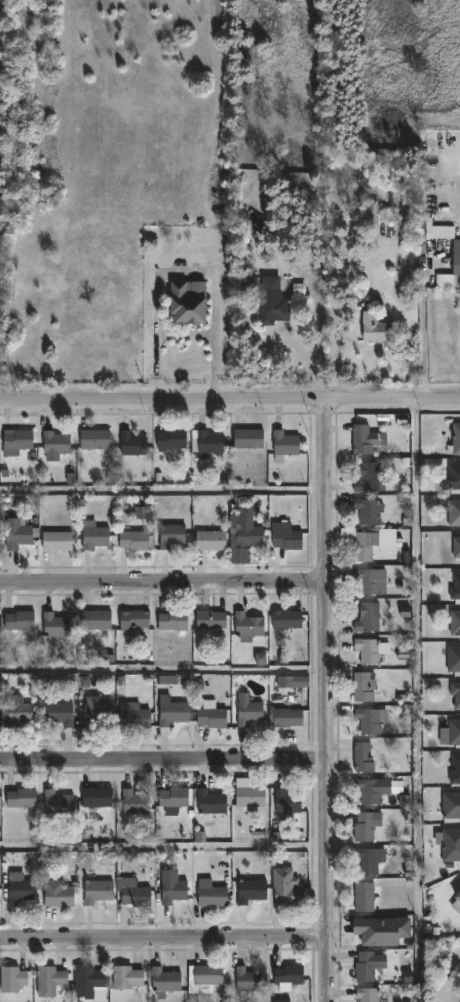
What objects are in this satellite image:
building: (427, 136)
building: (373, 216)
building: (255, 223)
building: (3, 232)
building: (446, 238)
building: (273, 303)
road: (364, 303)
building: (183, 306)
road: (423, 324)
building: (375, 330)
road: (229, 399)
building: (249, 438)
building: (95, 439)
building: (173, 439)
building: (455, 439)
building: (362, 440)
building: (19, 441)
building: (58, 443)
building: (133, 443)
building: (207, 444)
building: (286, 446)
building: (371, 478)
building: (450, 478)
building: (369, 510)
building: (452, 512)
building: (141, 513)
building: (243, 532)
building: (21, 534)
building: (172, 535)
building: (97, 536)
building: (285, 537)
building: (135, 540)
building: (58, 541)
building: (208, 541)
building: (368, 542)
building: (457, 547)
building: (369, 581)
road: (162, 582)
building: (455, 588)
building: (405, 611)
building: (369, 617)
building: (135, 619)
building: (287, 619)
building: (97, 620)
building: (212, 620)
building: (20, 621)
building: (174, 621)
building: (454, 623)
building: (58, 626)
building: (249, 627)
building: (369, 650)
building: (260, 659)
building: (452, 659)
building: (168, 680)
building: (84, 682)
building: (294, 682)
building: (198, 684)
building: (363, 687)
building: (455, 694)
road: (326, 699)
building: (97, 710)
building: (19, 712)
building: (170, 712)
building: (247, 712)
building: (60, 713)
building: (213, 716)
building: (286, 716)
building: (135, 719)
building: (370, 721)
building: (450, 733)
building: (364, 758)
road: (163, 760)
building: (456, 770)
building: (369, 791)
building: (246, 794)
building: (172, 796)
building: (98, 797)
building: (22, 798)
building: (135, 801)
building: (288, 801)
building: (209, 802)
building: (59, 803)
building: (450, 804)
building: (365, 827)
building: (0, 831)
building: (199, 837)
building: (449, 844)
building: (368, 861)
building: (285, 887)
building: (98, 891)
building: (172, 891)
building: (249, 891)
building: (21, 892)
building: (58, 893)
building: (135, 894)
building: (211, 896)
building: (363, 897)
building: (456, 900)
building: (373, 929)
road: (163, 938)
building: (369, 966)
building: (290, 975)
building: (208, 977)
building: (128, 978)
building: (245, 979)
building: (13, 980)
building: (51, 981)
building: (88, 982)
building: (166, 982)
building: (365, 994)
building: (282, 1001)

